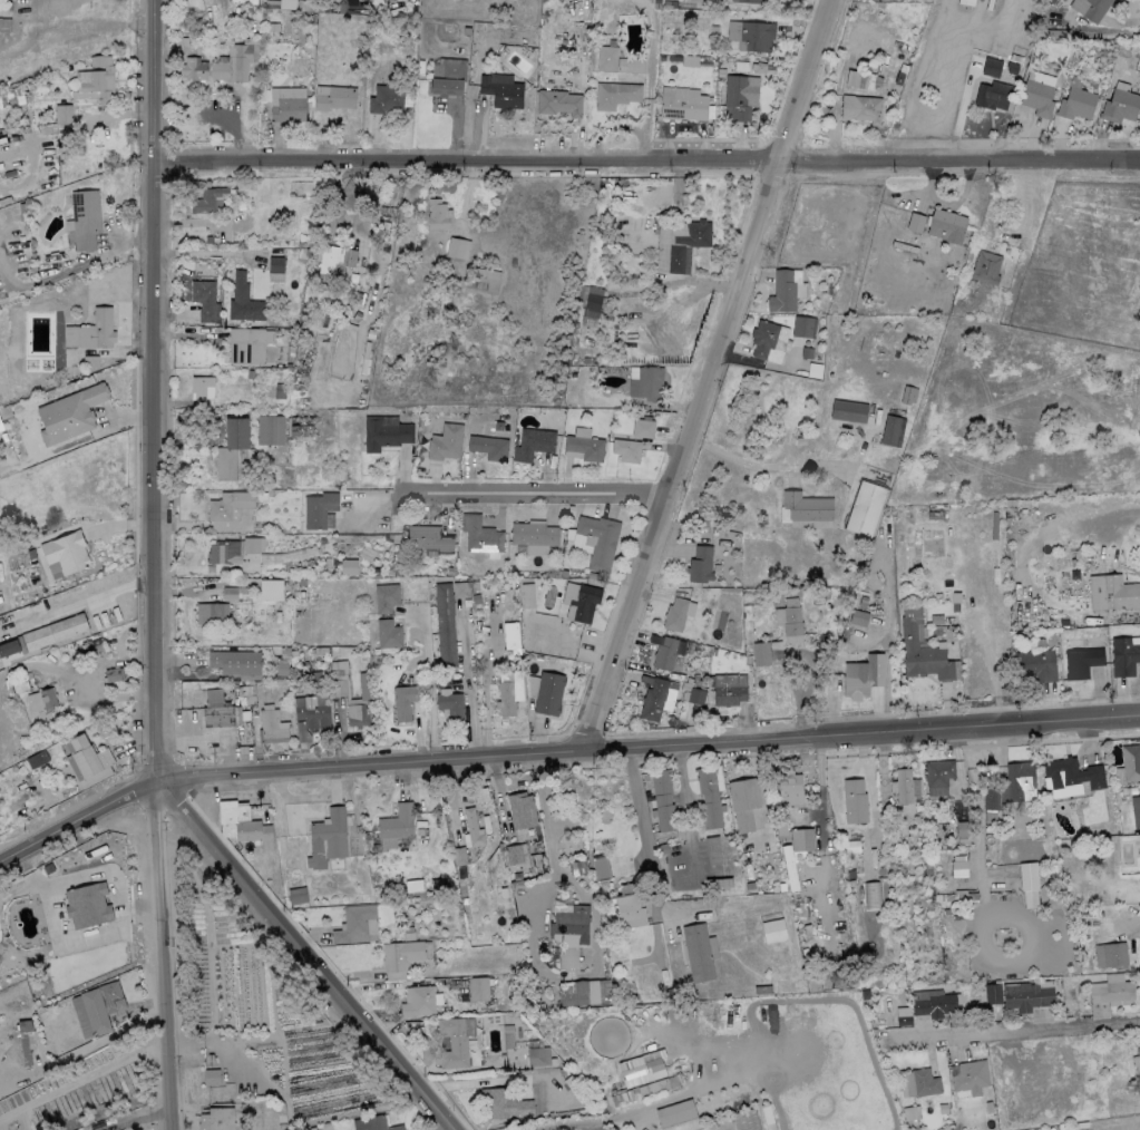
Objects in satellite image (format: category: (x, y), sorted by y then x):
building: (751, 0)
building: (966, 2)
building: (286, 3)
building: (1093, 6)
road: (1130, 20)
building: (4, 25)
building: (750, 33)
building: (1139, 36)
building: (606, 56)
building: (235, 60)
building: (991, 67)
building: (194, 68)
building: (448, 76)
building: (851, 78)
building: (95, 82)
road: (647, 88)
building: (500, 90)
building: (614, 94)
building: (992, 94)
building: (739, 96)
building: (1036, 96)
building: (11, 98)
building: (335, 98)
building: (386, 98)
building: (558, 101)
building: (1075, 101)
building: (682, 103)
building: (288, 104)
building: (1119, 105)
building: (860, 107)
building: (62, 114)
road: (72, 124)
road: (643, 162)
building: (208, 199)
building: (437, 214)
building: (85, 217)
building: (915, 222)
building: (945, 224)
building: (679, 243)
building: (457, 247)
road: (198, 253)
building: (333, 260)
building: (275, 264)
building: (985, 266)
building: (488, 279)
building: (781, 291)
building: (203, 298)
building: (243, 300)
building: (592, 301)
building: (803, 325)
building: (90, 330)
building: (762, 337)
building: (247, 344)
road: (700, 373)
building: (649, 382)
building: (202, 389)
building: (848, 410)
building: (69, 412)
building: (269, 428)
building: (642, 428)
building: (891, 430)
building: (384, 431)
building: (445, 441)
building: (533, 442)
building: (488, 446)
building: (583, 447)
building: (625, 449)
building: (232, 450)
road: (534, 490)
building: (228, 504)
building: (805, 506)
building: (318, 508)
building: (865, 508)
building: (479, 534)
building: (532, 534)
building: (428, 538)
building: (600, 540)
building: (252, 544)
building: (224, 552)
building: (65, 553)
building: (700, 564)
road: (147, 565)
building: (348, 566)
building: (271, 590)
building: (460, 590)
building: (1111, 592)
building: (230, 593)
building: (527, 595)
building: (386, 597)
building: (579, 600)
building: (211, 613)
building: (674, 614)
building: (858, 617)
building: (444, 624)
building: (791, 625)
building: (388, 634)
building: (43, 636)
building: (920, 650)
building: (664, 652)
building: (1124, 654)
building: (235, 661)
building: (1081, 661)
building: (1035, 664)
building: (111, 674)
building: (861, 675)
road: (468, 685)
building: (729, 688)
road: (429, 689)
building: (548, 692)
building: (691, 694)
road: (109, 695)
building: (47, 696)
building: (506, 698)
building: (405, 700)
building: (652, 700)
building: (449, 702)
building: (311, 710)
building: (355, 714)
building: (217, 715)
building: (271, 727)
road: (561, 754)
building: (84, 757)
building: (1130, 762)
building: (937, 776)
building: (1070, 776)
building: (1019, 779)
building: (903, 785)
building: (789, 788)
building: (709, 797)
building: (991, 798)
building: (662, 799)
building: (854, 800)
building: (742, 802)
road: (685, 803)
road: (637, 806)
building: (520, 810)
building: (1136, 810)
building: (242, 822)
building: (392, 827)
building: (471, 828)
building: (327, 838)
building: (801, 841)
building: (712, 850)
building: (458, 855)
building: (516, 856)
building: (958, 866)
building: (601, 867)
building: (789, 867)
building: (1027, 883)
building: (296, 895)
building: (81, 897)
building: (625, 906)
building: (357, 924)
building: (569, 924)
building: (773, 929)
building: (698, 952)
building: (400, 954)
building: (1110, 955)
road: (296, 962)
building: (766, 987)
building: (478, 988)
building: (1111, 991)
building: (584, 992)
building: (990, 993)
building: (1025, 995)
building: (417, 1001)
building: (934, 1003)
building: (101, 1006)
building: (903, 1015)
road: (1013, 1031)
building: (452, 1042)
building: (537, 1055)
building: (636, 1059)
building: (1136, 1060)
building: (211, 1077)
building: (970, 1077)
road: (80, 1080)
building: (673, 1080)
building: (923, 1082)
building: (504, 1103)
building: (672, 1109)
building: (910, 1113)
building: (216, 1119)
building: (746, 1120)
building: (373, 1123)

